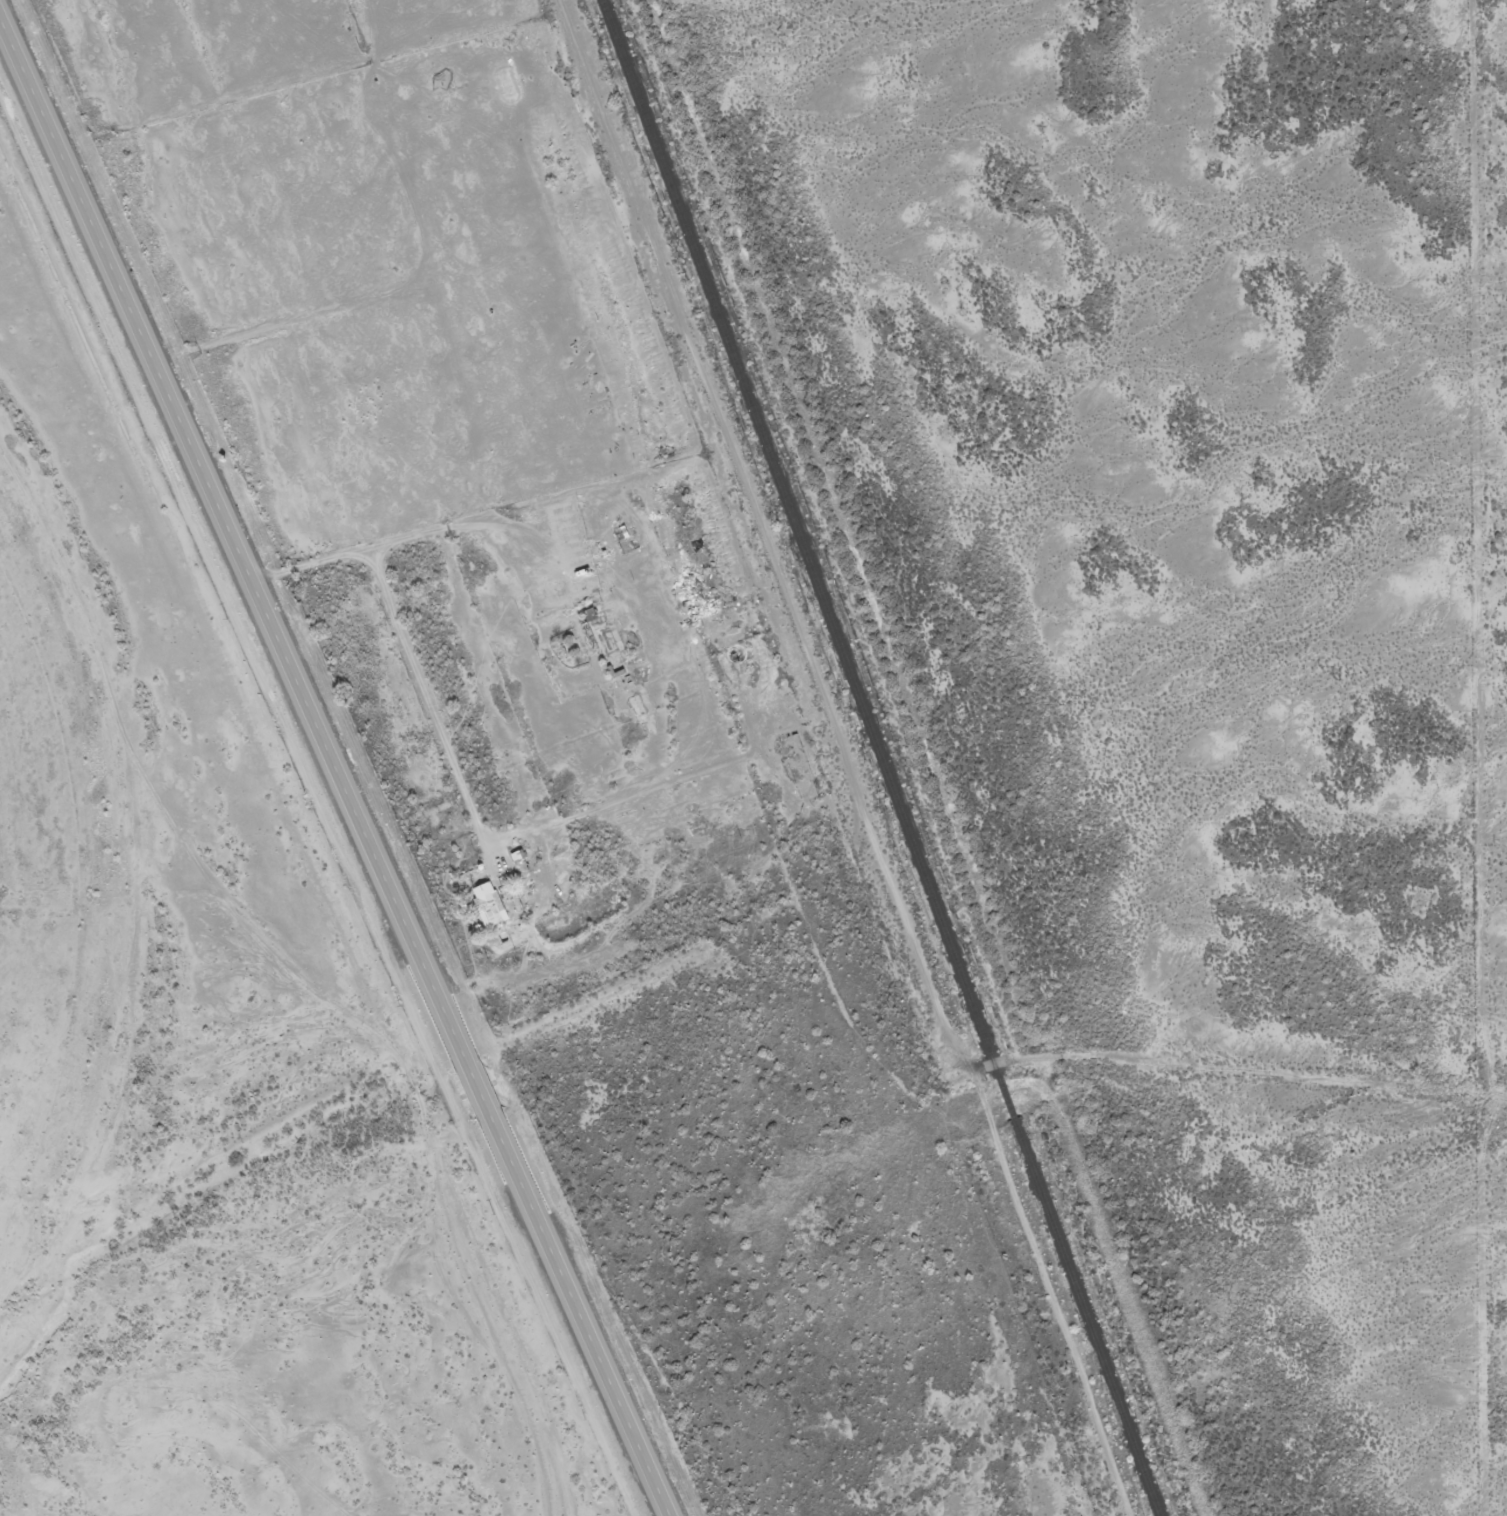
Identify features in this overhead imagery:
building: (588, 616)
building: (585, 645)
railway: (878, 757)
road: (330, 769)
park: (1077, 898)
building: (487, 906)
road: (927, 1061)

